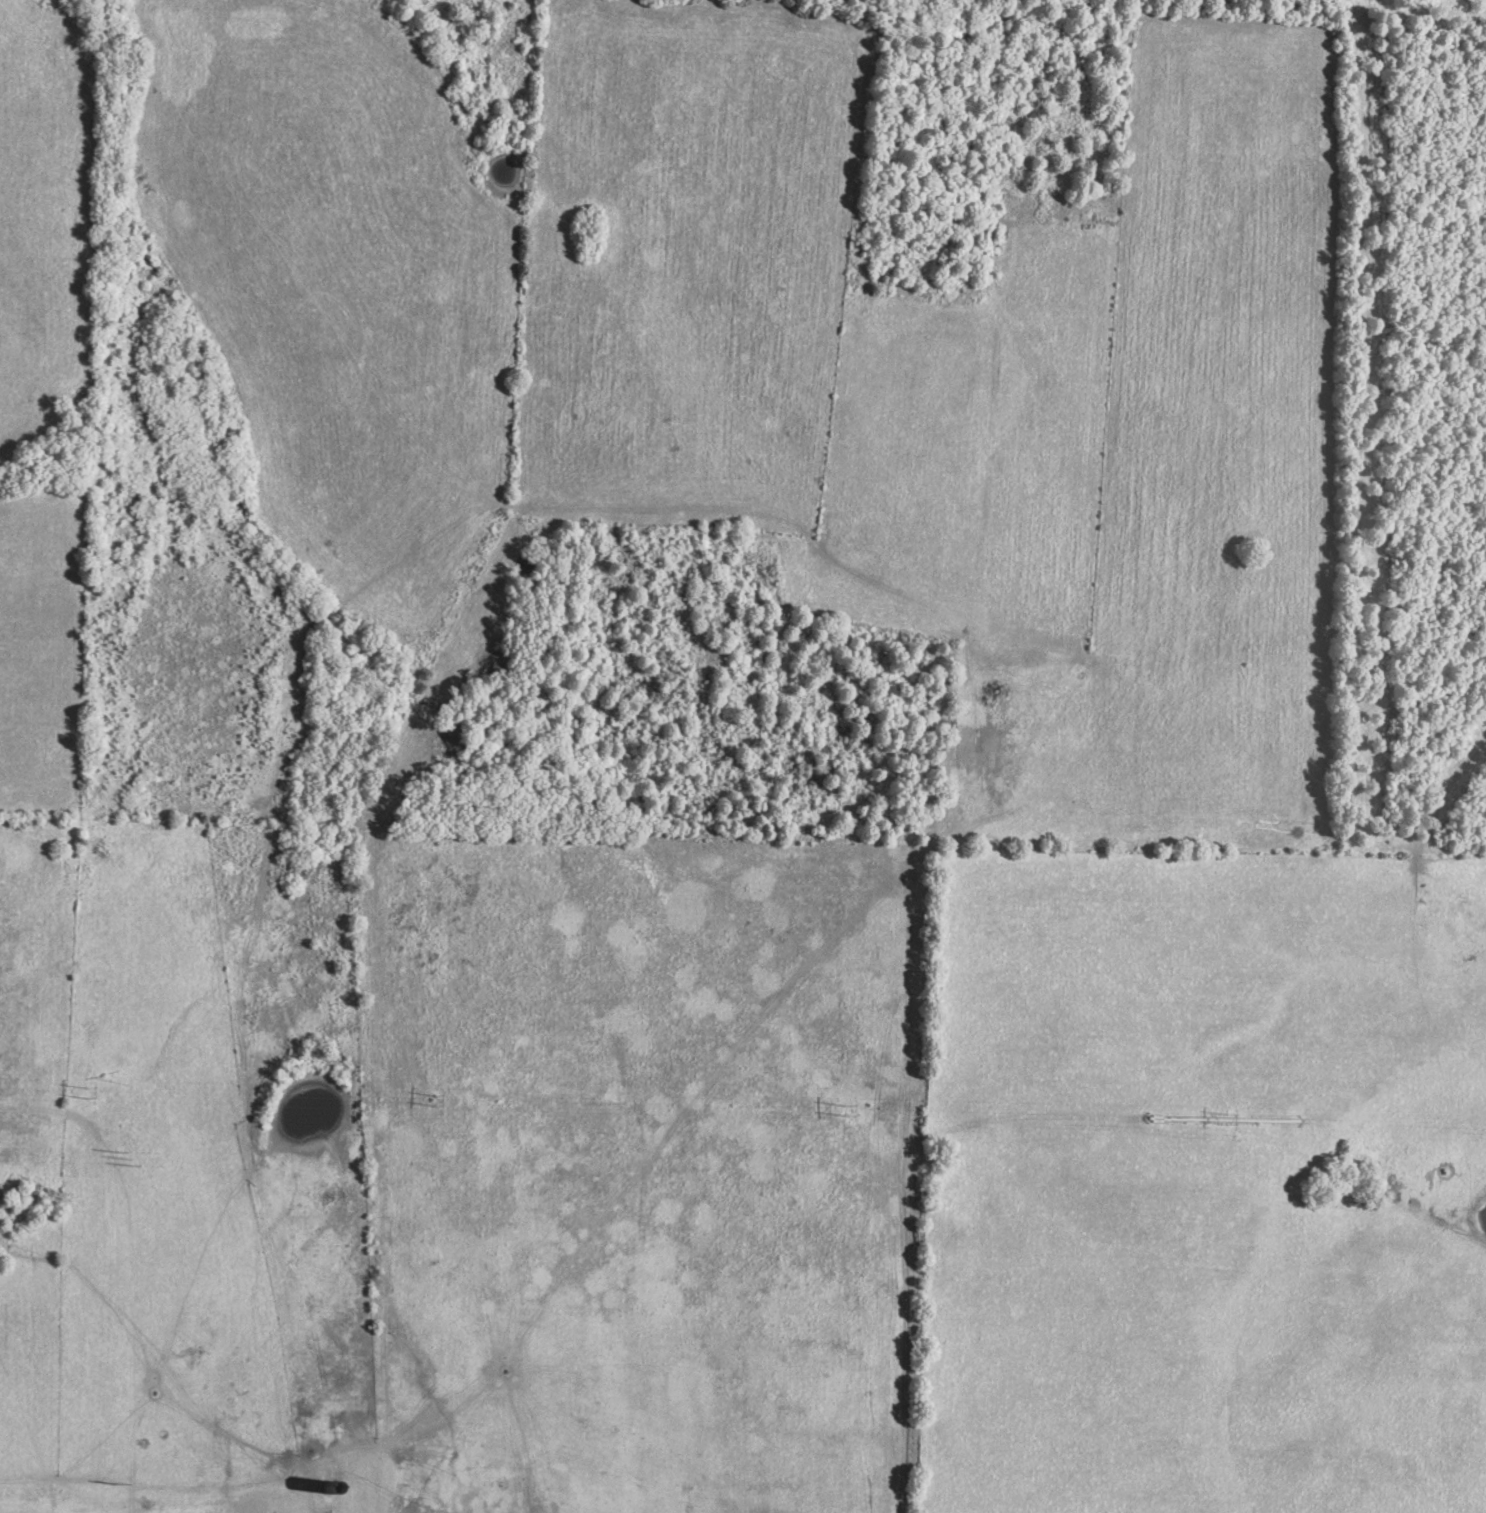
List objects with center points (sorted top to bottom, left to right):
power tower: (434, 1099)
power tower: (845, 1109)
power tower: (1223, 1117)
building: (282, 1510)

